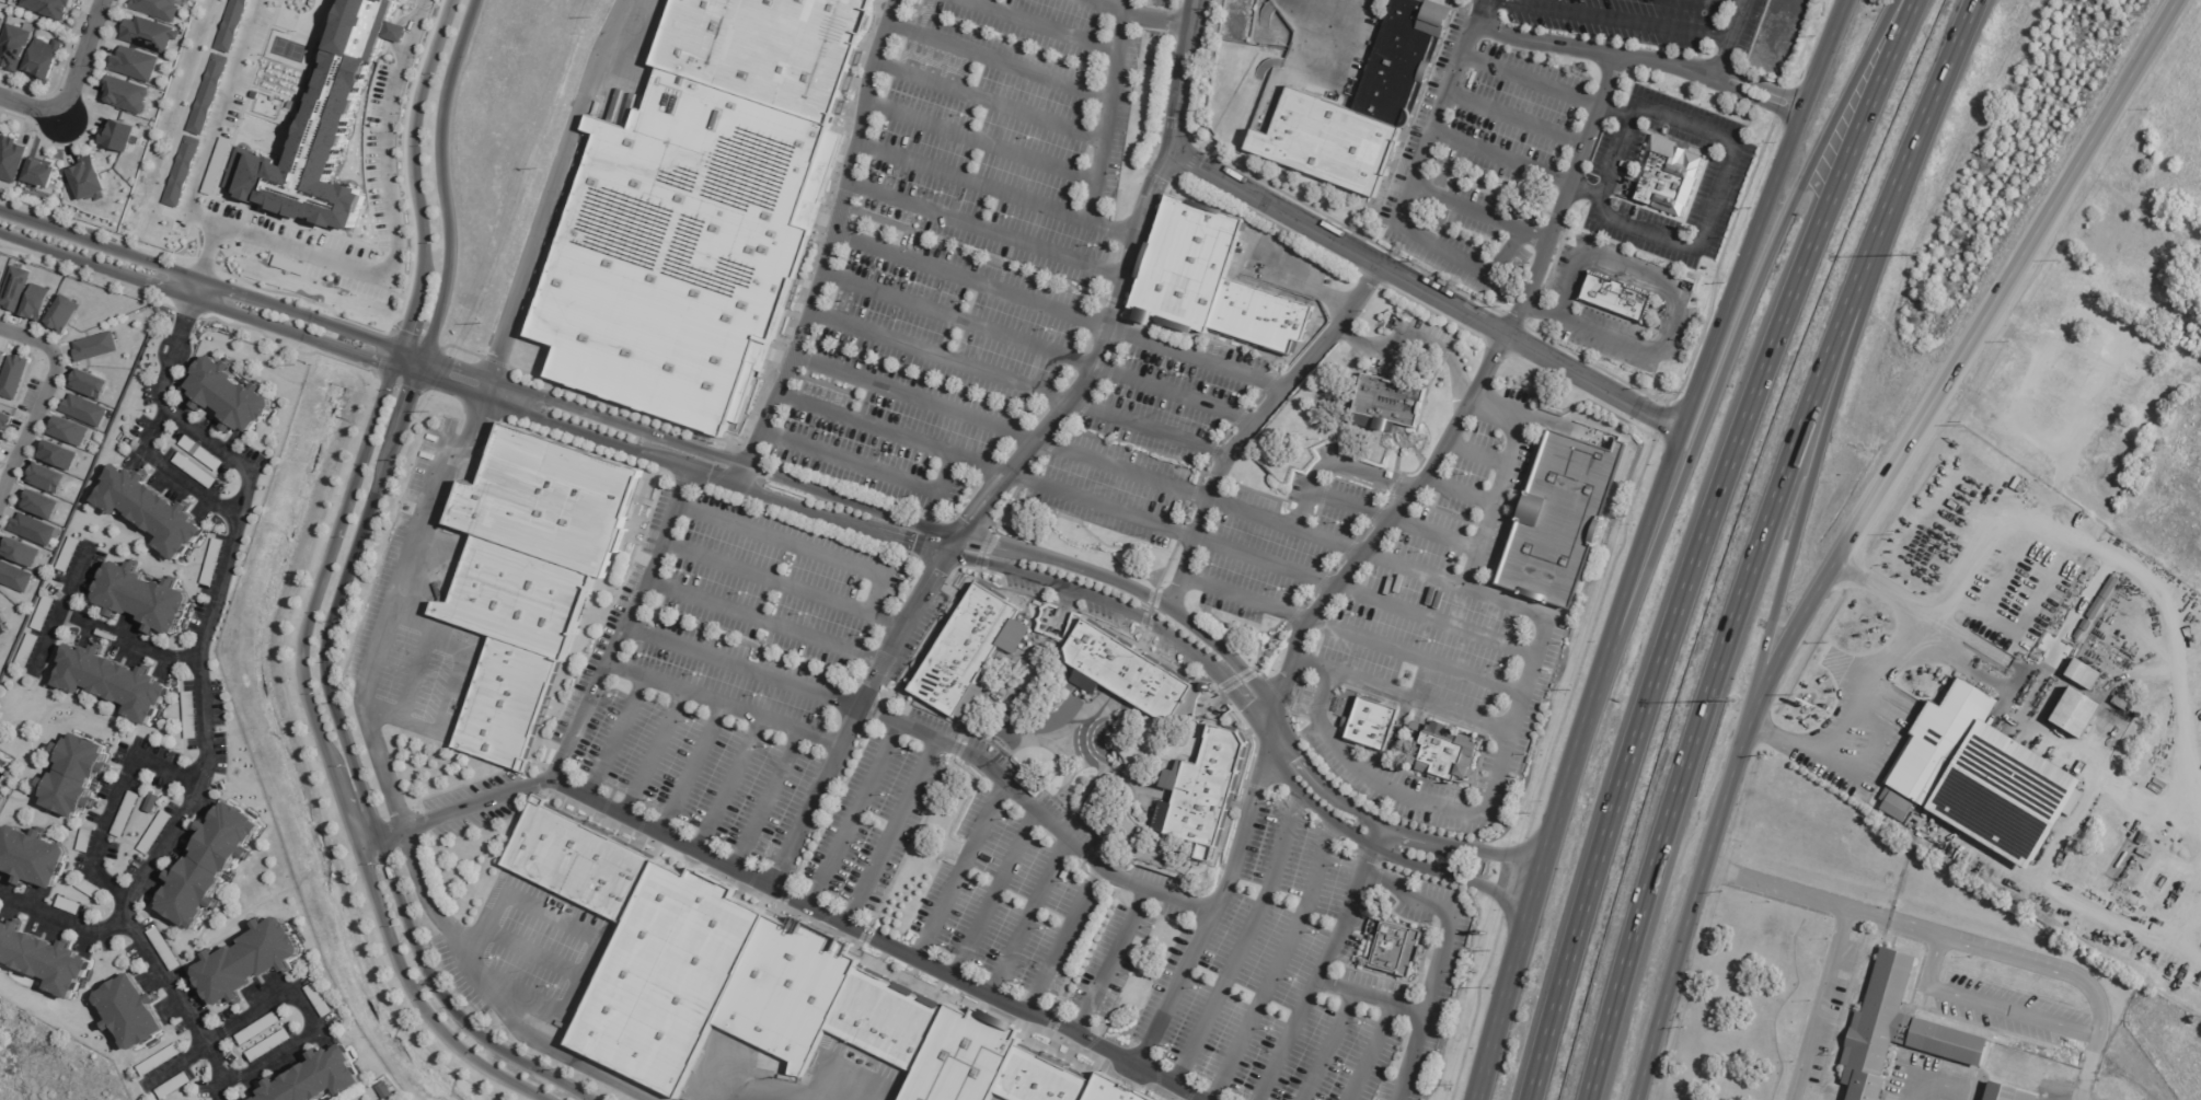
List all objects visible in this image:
road: (1739, 2)
road: (1298, 5)
building: (48, 8)
building: (155, 8)
road: (1482, 12)
road: (1139, 14)
building: (0, 20)
road: (1617, 22)
parking lot: (1633, 22)
building: (231, 25)
road: (1038, 26)
building: (150, 34)
road: (1736, 43)
building: (14, 46)
building: (763, 49)
building: (44, 59)
road: (998, 61)
building: (137, 65)
road: (1712, 69)
road: (1184, 74)
road: (1532, 78)
road: (1708, 82)
road: (72, 90)
building: (207, 94)
building: (125, 95)
road: (989, 101)
building: (1361, 107)
road: (1443, 107)
parking lot: (1521, 115)
road: (1517, 118)
road: (215, 121)
building: (322, 129)
road: (1105, 132)
building: (119, 136)
road: (981, 141)
building: (222, 150)
road: (1618, 154)
road: (1502, 157)
building: (12, 160)
road: (1163, 162)
building: (181, 172)
building: (43, 175)
building: (91, 180)
road: (973, 182)
road: (413, 183)
building: (1671, 183)
road: (445, 187)
road: (338, 192)
road: (1146, 193)
road: (1566, 197)
road: (1715, 198)
road: (1263, 199)
road: (1760, 213)
road: (394, 223)
road: (984, 230)
parking lot: (1466, 236)
parking lot: (960, 241)
road: (830, 247)
building: (680, 251)
road: (207, 252)
road: (1447, 252)
building: (288, 265)
road: (1392, 271)
building: (0, 275)
road: (1295, 280)
road: (971, 282)
building: (1209, 283)
building: (13, 288)
road: (195, 289)
building: (1613, 298)
building: (35, 302)
road: (1671, 309)
building: (62, 314)
road: (958, 320)
building: (2100, 321)
road: (178, 338)
road: (1415, 338)
building: (94, 347)
road: (1961, 352)
road: (1727, 355)
road: (940, 356)
building: (1, 358)
road: (1195, 359)
road: (1556, 362)
building: (12, 377)
building: (88, 384)
road: (1175, 393)
parking lot: (28, 395)
road: (44, 395)
building: (233, 396)
road: (914, 398)
building: (1387, 404)
building: (84, 410)
road: (1517, 418)
road: (1825, 418)
road: (476, 420)
building: (4, 421)
road: (1252, 422)
road: (1151, 427)
building: (68, 431)
road: (891, 433)
building: (0, 440)
parking lot: (1142, 441)
road: (1051, 445)
building: (203, 454)
building: (57, 455)
building: (2113, 455)
road: (1499, 460)
road: (867, 465)
road: (1338, 465)
building: (2040, 467)
road: (166, 472)
building: (197, 472)
building: (45, 478)
road: (830, 493)
road: (1201, 496)
building: (41, 505)
road: (1189, 505)
road: (1348, 506)
road: (813, 510)
building: (154, 512)
building: (1558, 520)
building: (32, 529)
road: (1171, 531)
road: (1373, 534)
road: (1483, 535)
road: (1099, 542)
road: (1698, 542)
road: (1756, 542)
road: (950, 545)
road: (797, 546)
building: (20, 553)
building: (70, 556)
road: (2113, 557)
building: (215, 564)
road: (1414, 566)
road: (1632, 575)
building: (14, 577)
building: (526, 577)
road: (780, 583)
building: (2108, 588)
building: (145, 599)
building: (2095, 607)
road: (58, 610)
building: (44, 615)
building: (2, 618)
road: (761, 621)
road: (1434, 621)
building: (2085, 625)
building: (2078, 634)
road: (1352, 635)
road: (204, 636)
road: (125, 644)
road: (1912, 645)
building: (963, 649)
building: (28, 652)
road: (740, 665)
road: (416, 668)
parking lot: (734, 670)
building: (1123, 672)
building: (2082, 673)
building: (116, 685)
road: (1422, 702)
road: (722, 703)
building: (2120, 703)
building: (2073, 713)
building: (191, 717)
road: (578, 718)
building: (1375, 727)
building: (1413, 727)
road: (1062, 734)
road: (615, 738)
building: (1409, 741)
road: (1800, 749)
building: (1443, 753)
road: (654, 754)
road: (330, 766)
road: (691, 769)
road: (1068, 772)
road: (354, 773)
building: (1978, 776)
building: (78, 778)
road: (728, 786)
road: (1724, 788)
building: (1206, 791)
road: (1495, 795)
road: (767, 801)
road: (113, 802)
building: (153, 806)
building: (1894, 806)
building: (2104, 809)
road: (1037, 811)
building: (127, 815)
road: (852, 818)
parking lot: (869, 827)
building: (157, 834)
road: (890, 835)
building: (2142, 837)
building: (85, 842)
building: (33, 859)
building: (212, 865)
road: (958, 873)
building: (90, 889)
road: (993, 895)
road: (1820, 901)
road: (2181, 903)
building: (70, 907)
road: (1530, 908)
road: (1215, 910)
road: (1445, 916)
road: (1028, 919)
road: (1062, 940)
road: (1243, 940)
road: (874, 945)
building: (1392, 946)
building: (164, 949)
road: (143, 951)
building: (45, 958)
building: (251, 962)
road: (1110, 962)
road: (1278, 964)
road: (1325, 964)
road: (2054, 972)
building: (760, 984)
road: (1672, 984)
road: (286, 992)
road: (491, 994)
building: (320, 1000)
road: (1817, 1004)
road: (1984, 1006)
road: (1411, 1010)
building: (134, 1012)
building: (260, 1029)
building: (1893, 1030)
building: (270, 1046)
road: (1333, 1046)
road: (1374, 1052)
building: (161, 1060)
building: (321, 1079)
road: (1938, 1082)
road: (2082, 1084)
building: (174, 1086)
building: (385, 1089)
building: (1997, 1092)
road: (776, 1097)

